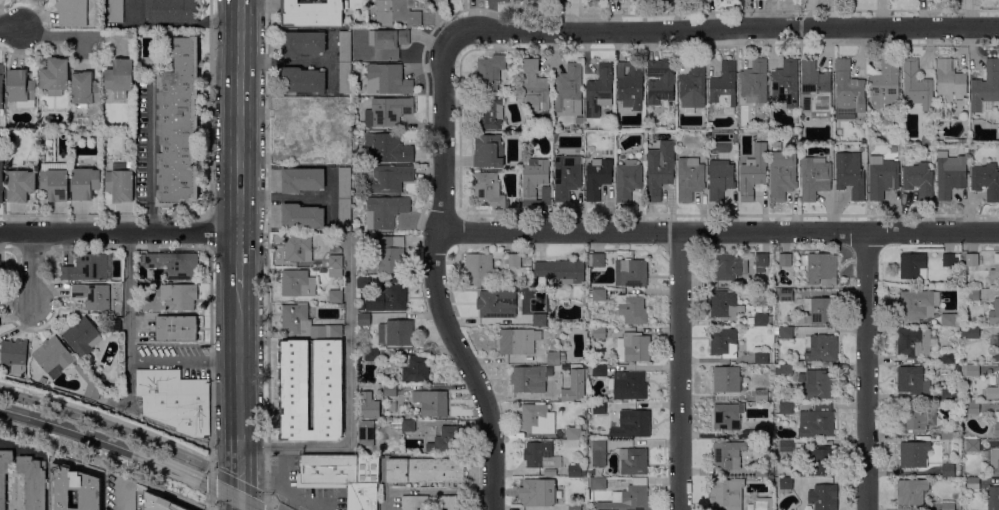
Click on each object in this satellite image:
building: (509, 0)
building: (690, 0)
building: (513, 1)
building: (520, 1)
building: (528, 1)
building: (535, 1)
building: (543, 1)
building: (557, 1)
building: (498, 2)
building: (116, 11)
building: (170, 11)
building: (71, 12)
building: (396, 12)
building: (311, 13)
road: (174, 24)
road: (722, 28)
road: (10, 29)
road: (61, 34)
building: (302, 43)
building: (387, 43)
building: (344, 62)
building: (487, 74)
building: (55, 76)
building: (119, 78)
building: (303, 80)
building: (387, 80)
building: (754, 81)
building: (660, 82)
building: (949, 82)
building: (785, 83)
building: (630, 85)
building: (885, 85)
building: (916, 85)
building: (1, 86)
building: (534, 86)
building: (985, 86)
building: (692, 88)
building: (723, 88)
building: (848, 88)
building: (20, 89)
building: (85, 89)
building: (815, 90)
building: (598, 91)
building: (569, 92)
road: (209, 107)
building: (387, 112)
building: (489, 113)
road: (239, 116)
building: (938, 120)
building: (178, 126)
building: (580, 127)
building: (322, 130)
building: (839, 136)
building: (963, 141)
building: (387, 148)
building: (488, 151)
road: (150, 159)
building: (344, 159)
building: (129, 165)
building: (659, 169)
building: (781, 171)
building: (753, 173)
building: (849, 175)
building: (949, 175)
building: (534, 177)
building: (565, 177)
building: (882, 177)
building: (596, 178)
building: (814, 178)
building: (386, 179)
building: (689, 179)
building: (719, 179)
building: (1, 180)
building: (54, 180)
building: (302, 180)
building: (627, 180)
building: (919, 181)
building: (986, 181)
building: (84, 183)
building: (20, 185)
building: (120, 186)
building: (487, 190)
building: (545, 193)
building: (344, 198)
building: (385, 211)
building: (302, 217)
road: (210, 231)
road: (717, 232)
road: (119, 233)
building: (298, 249)
building: (390, 255)
building: (141, 258)
road: (239, 260)
building: (514, 260)
building: (596, 260)
building: (785, 260)
building: (948, 260)
building: (971, 260)
building: (335, 261)
building: (761, 262)
building: (174, 265)
building: (912, 266)
building: (728, 267)
road: (32, 268)
building: (88, 268)
building: (820, 268)
building: (478, 269)
building: (995, 269)
building: (561, 271)
building: (631, 272)
building: (1, 273)
building: (335, 273)
building: (150, 274)
road: (433, 278)
building: (363, 282)
building: (297, 284)
building: (144, 288)
building: (597, 295)
building: (785, 295)
building: (972, 295)
building: (92, 296)
building: (335, 296)
building: (178, 297)
building: (387, 298)
building: (490, 303)
building: (917, 304)
building: (724, 305)
building: (361, 307)
building: (632, 309)
building: (820, 311)
building: (993, 313)
building: (363, 320)
building: (539, 320)
building: (761, 320)
building: (950, 320)
building: (306, 323)
building: (114, 326)
building: (176, 328)
building: (396, 333)
building: (599, 333)
building: (784, 333)
building: (972, 333)
building: (82, 337)
building: (517, 341)
building: (915, 342)
building: (723, 343)
building: (995, 347)
building: (633, 348)
building: (821, 348)
road: (129, 351)
building: (52, 355)
building: (371, 355)
building: (13, 357)
building: (293, 357)
building: (328, 357)
building: (947, 357)
building: (555, 358)
building: (761, 358)
road: (209, 362)
building: (416, 369)
road: (267, 370)
building: (783, 370)
building: (972, 370)
building: (599, 371)
road: (679, 371)
road: (867, 371)
building: (528, 379)
building: (726, 379)
building: (908, 379)
building: (89, 381)
building: (628, 386)
building: (818, 386)
building: (998, 386)
building: (389, 390)
building: (294, 391)
building: (328, 391)
building: (762, 395)
building: (947, 395)
building: (567, 396)
building: (173, 399)
road: (239, 399)
road: (349, 399)
building: (431, 403)
building: (367, 405)
building: (598, 407)
building: (785, 408)
building: (972, 408)
building: (727, 417)
building: (918, 418)
building: (537, 419)
building: (816, 421)
building: (293, 423)
building: (996, 423)
building: (633, 425)
road: (109, 426)
building: (402, 426)
building: (573, 433)
building: (761, 433)
building: (947, 433)
building: (366, 434)
building: (446, 440)
building: (972, 445)
building: (785, 446)
building: (599, 454)
building: (913, 454)
building: (541, 455)
building: (727, 455)
building: (633, 461)
building: (820, 461)
building: (994, 461)
building: (424, 471)
building: (576, 471)
building: (761, 471)
building: (947, 471)
building: (4, 475)
building: (343, 477)
building: (33, 482)
building: (597, 483)
building: (972, 483)
road: (239, 484)
road: (211, 485)
building: (785, 486)
building: (74, 489)
building: (911, 491)
road: (432, 492)
building: (538, 493)
building: (727, 493)
building: (629, 498)
building: (821, 498)
building: (993, 498)
traffic signals: (241, 500)
building: (414, 502)
building: (450, 502)
road: (211, 503)
road: (274, 503)
building: (761, 504)
building: (574, 506)
building: (947, 506)
road: (267, 507)

